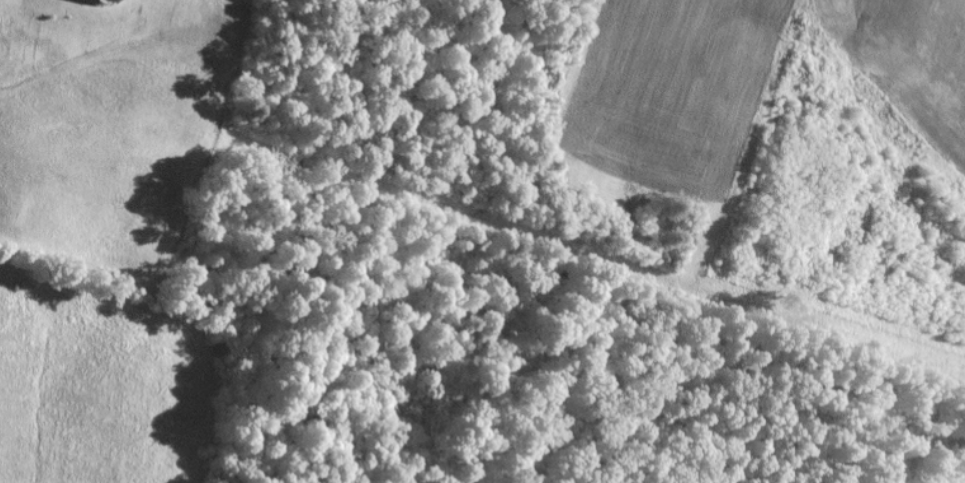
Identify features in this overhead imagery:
building: (91, 1)

